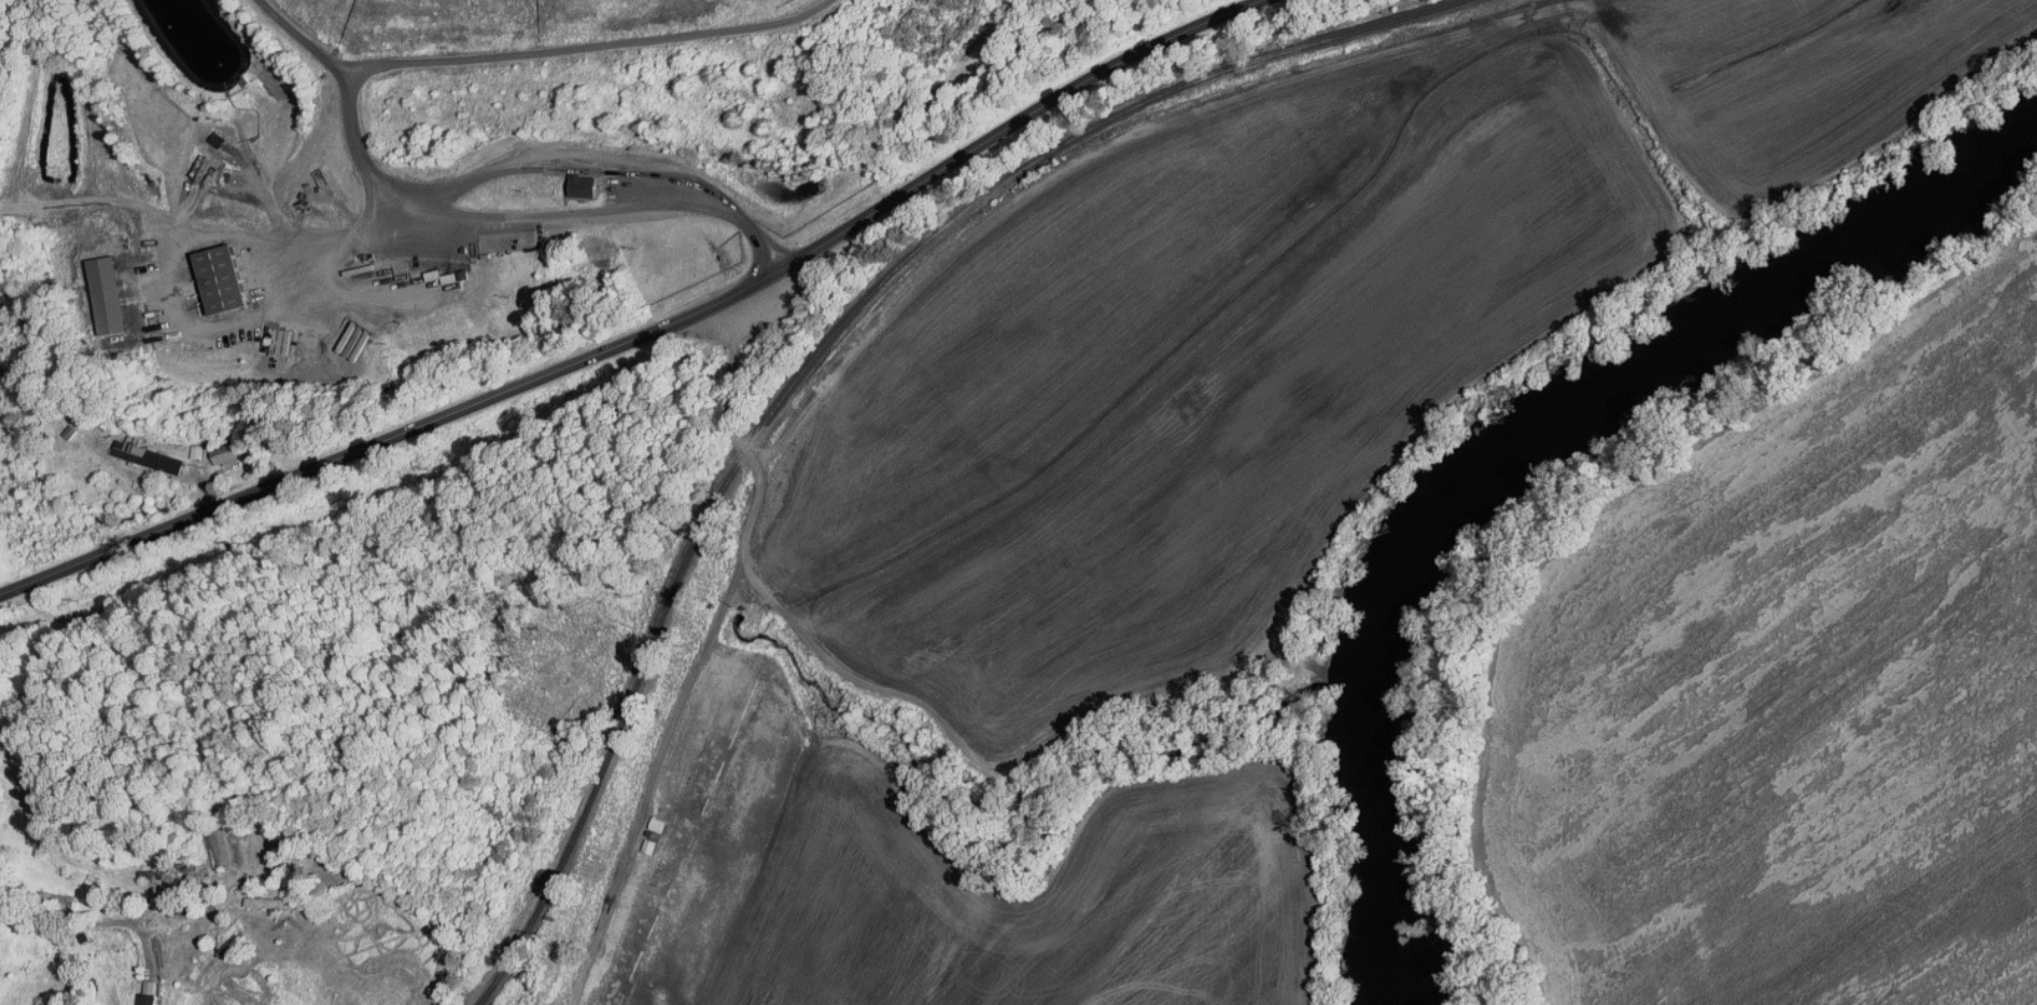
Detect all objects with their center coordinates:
road: (297, 32)
road: (578, 40)
building: (207, 134)
road: (349, 140)
road: (549, 146)
building: (574, 181)
road: (601, 209)
road: (158, 254)
building: (213, 275)
building: (101, 290)
road: (647, 332)
railway: (822, 347)
river: (1663, 360)
road: (740, 439)
building: (186, 446)
building: (212, 448)
building: (138, 450)
road: (1299, 659)
road: (1312, 667)
road: (971, 752)
road: (659, 755)
building: (646, 818)
river: (1382, 839)
building: (639, 840)
road: (28, 892)
building: (257, 896)
building: (138, 991)

